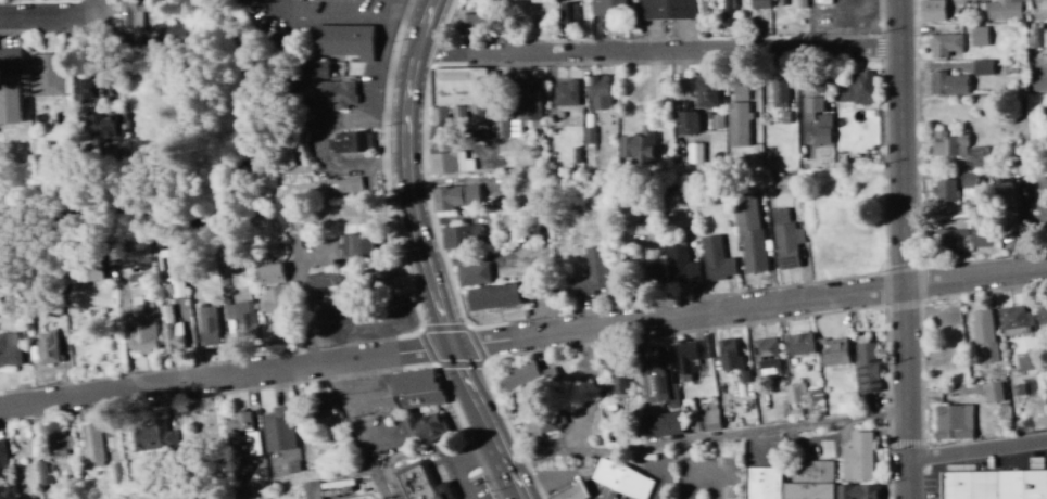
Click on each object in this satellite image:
building: (506, 2)
road: (90, 3)
building: (758, 3)
building: (607, 8)
building: (668, 9)
building: (932, 10)
building: (1005, 10)
road: (45, 13)
building: (569, 13)
building: (728, 13)
building: (131, 14)
building: (172, 31)
building: (977, 36)
building: (345, 42)
building: (944, 44)
building: (9, 57)
road: (661, 60)
building: (982, 67)
building: (313, 69)
building: (46, 74)
building: (947, 84)
building: (81, 86)
building: (462, 88)
building: (856, 88)
building: (739, 89)
building: (598, 91)
building: (705, 91)
building: (779, 92)
building: (336, 93)
building: (565, 93)
building: (813, 98)
building: (9, 99)
building: (522, 110)
building: (476, 113)
building: (823, 119)
building: (686, 123)
building: (737, 124)
building: (104, 127)
building: (349, 142)
building: (639, 144)
building: (948, 144)
building: (694, 152)
building: (449, 163)
building: (968, 184)
building: (315, 185)
building: (945, 192)
building: (455, 196)
building: (1007, 209)
road: (413, 214)
building: (1043, 218)
building: (631, 219)
building: (749, 231)
building: (951, 234)
building: (459, 235)
building: (981, 238)
building: (785, 240)
building: (355, 245)
road: (904, 250)
building: (716, 258)
building: (681, 264)
building: (169, 269)
building: (645, 269)
building: (84, 272)
building: (269, 273)
building: (590, 273)
building: (471, 274)
building: (319, 280)
building: (380, 280)
building: (492, 296)
building: (272, 300)
road: (747, 308)
building: (244, 315)
building: (1042, 317)
building: (1014, 321)
building: (207, 325)
building: (983, 333)
building: (143, 334)
building: (799, 344)
building: (47, 348)
building: (9, 349)
building: (835, 353)
building: (766, 354)
building: (690, 356)
building: (731, 359)
building: (1026, 362)
building: (867, 368)
building: (527, 375)
building: (616, 376)
road: (224, 378)
building: (415, 391)
building: (794, 393)
building: (993, 393)
building: (710, 419)
building: (540, 422)
building: (953, 422)
building: (661, 424)
building: (425, 428)
building: (278, 430)
building: (243, 431)
building: (152, 435)
road: (707, 442)
building: (56, 444)
building: (91, 444)
road: (492, 446)
road: (980, 452)
building: (2, 453)
building: (858, 458)
road: (454, 461)
building: (42, 473)
building: (0, 474)
road: (545, 481)
building: (625, 481)
building: (790, 483)
building: (419, 484)
building: (996, 485)
road: (512, 486)
road: (263, 487)
building: (312, 490)
building: (856, 491)
building: (577, 492)
building: (267, 498)

